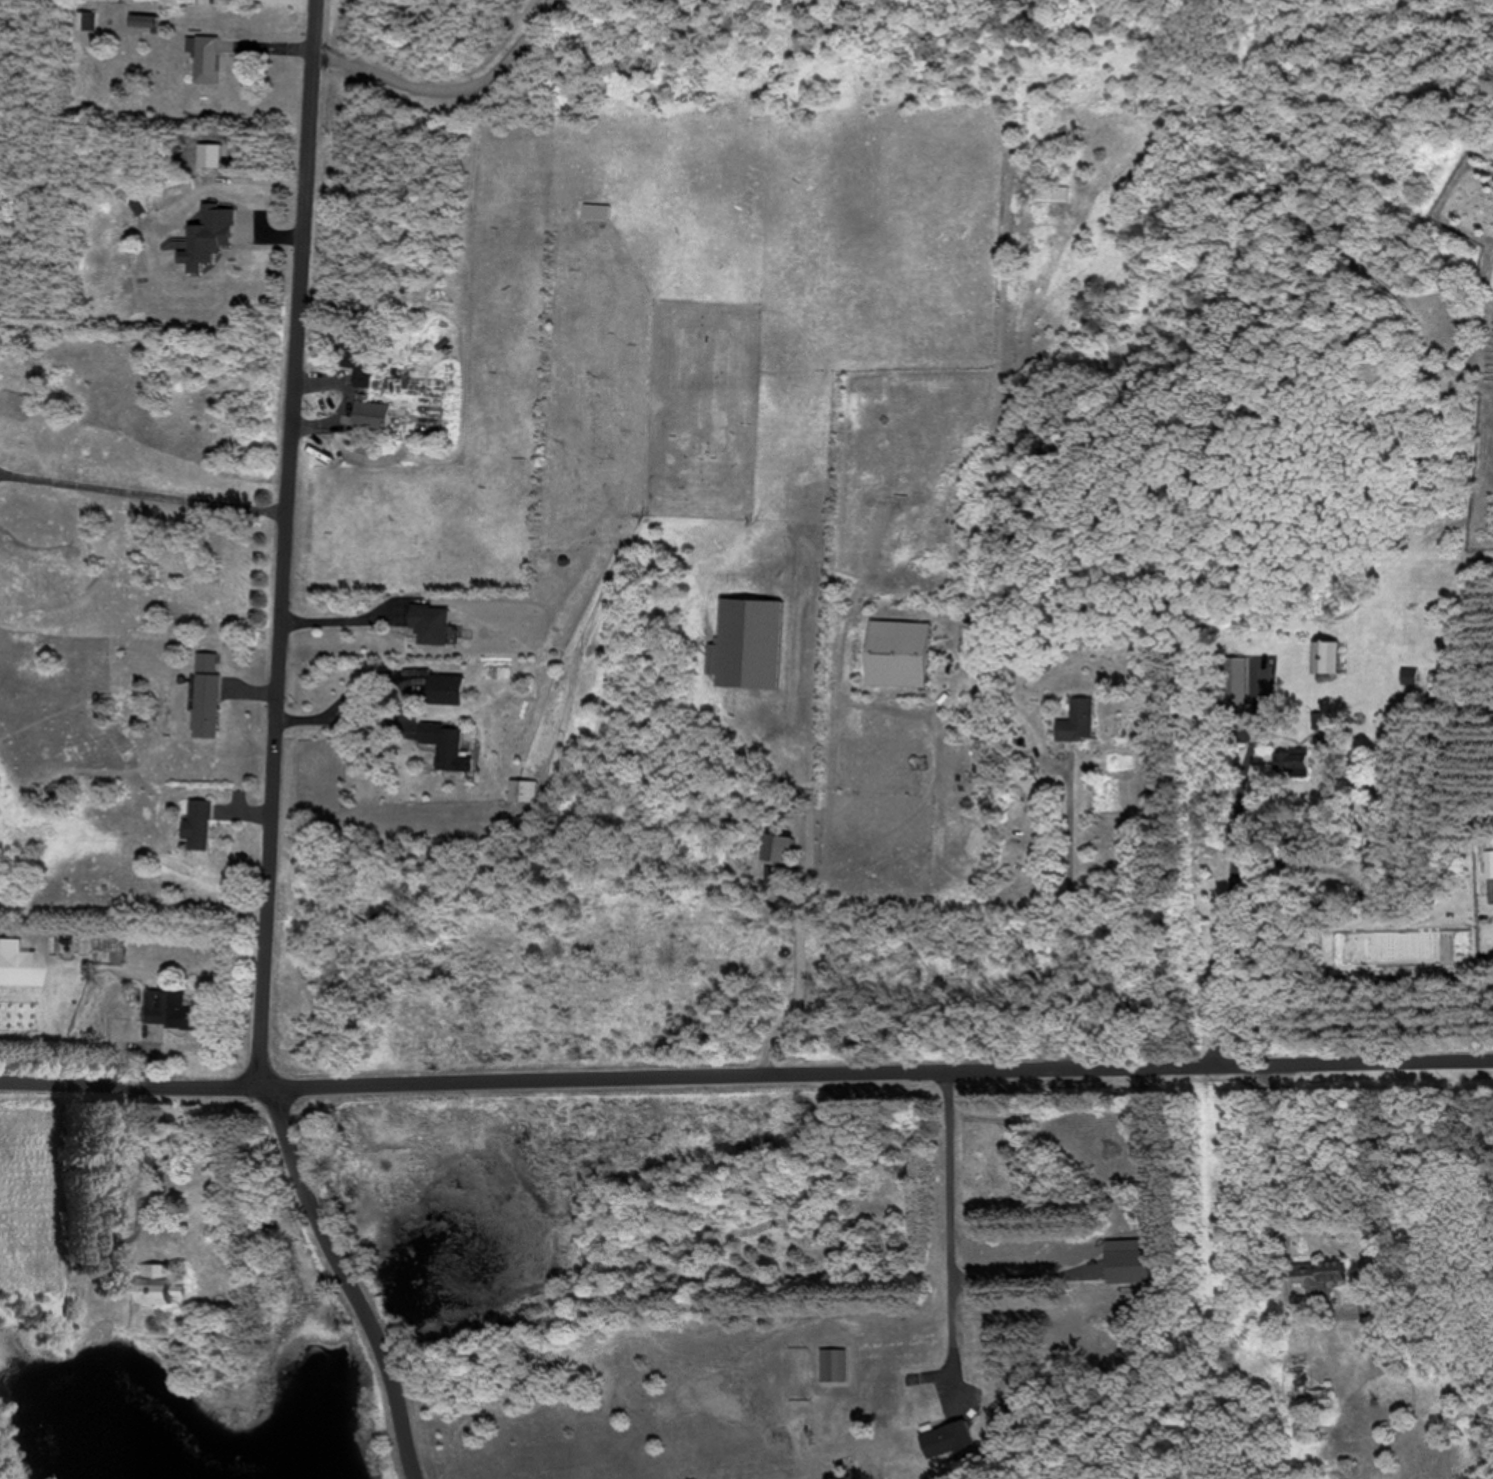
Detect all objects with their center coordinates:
building: (85, 20)
building: (202, 57)
building: (1049, 192)
building: (594, 210)
building: (202, 242)
building: (352, 354)
building: (369, 415)
road: (139, 491)
road: (280, 545)
building: (427, 623)
building: (894, 653)
building: (1324, 656)
building: (1407, 675)
building: (1233, 687)
building: (203, 694)
road: (327, 709)
building: (1074, 721)
building: (444, 745)
building: (520, 789)
building: (195, 824)
building: (15, 964)
building: (167, 1010)
road: (746, 1084)
building: (1111, 1148)
building: (106, 1182)
road: (945, 1236)
road: (1014, 1263)
building: (1125, 1264)
building: (1314, 1278)
road: (348, 1282)
building: (150, 1286)
building: (1367, 1308)
building: (828, 1366)
building: (1302, 1386)
building: (944, 1438)

